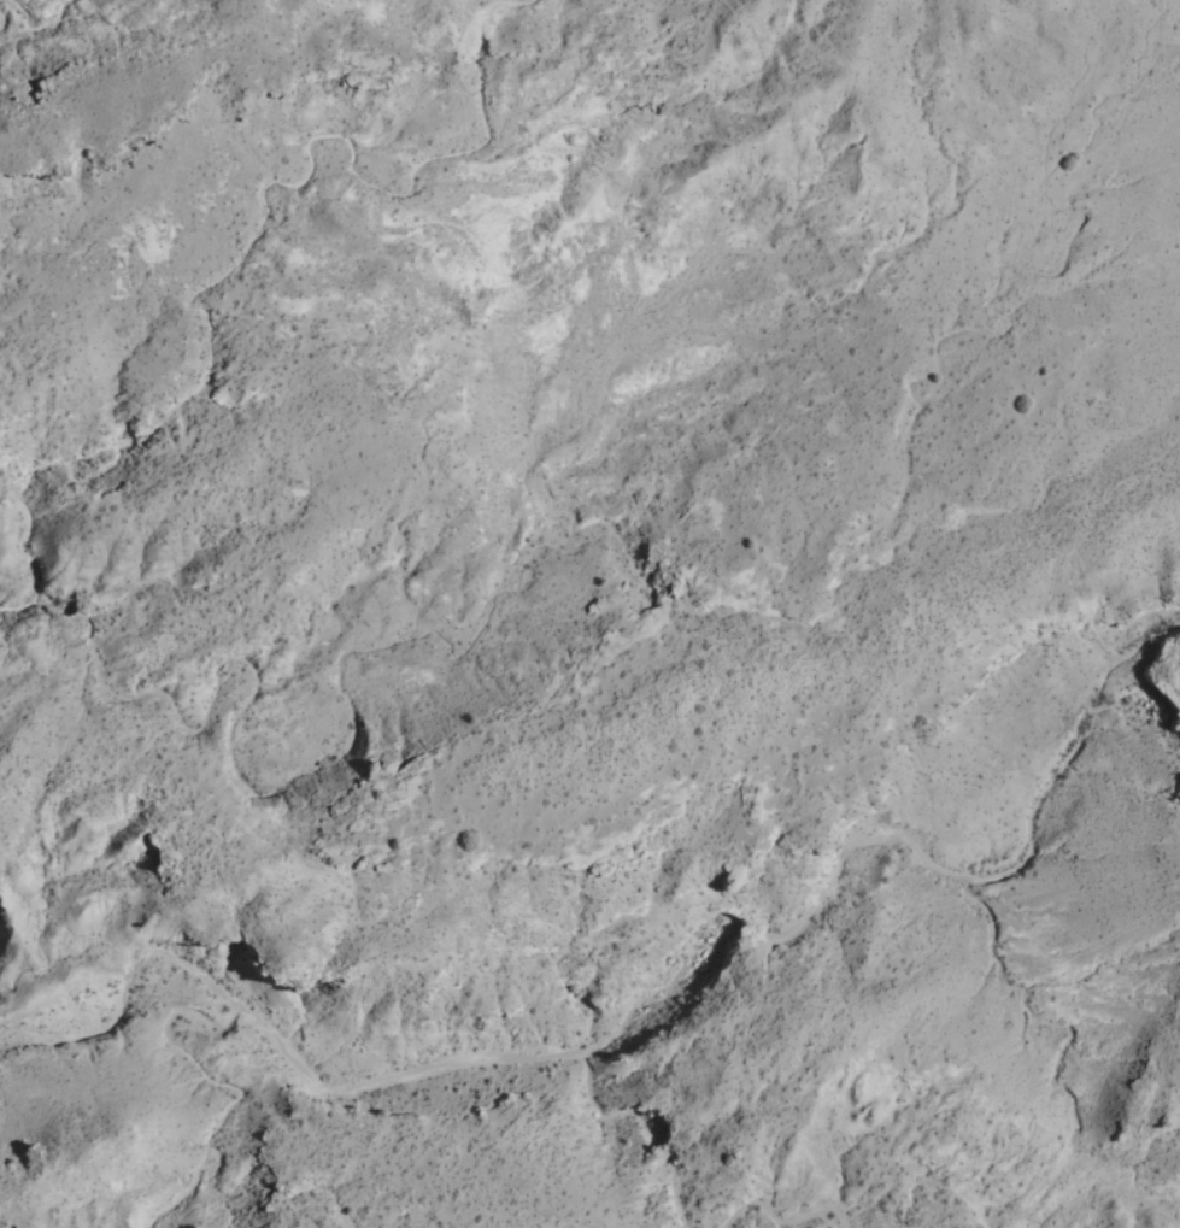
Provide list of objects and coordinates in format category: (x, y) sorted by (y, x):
river: (641, 989)

